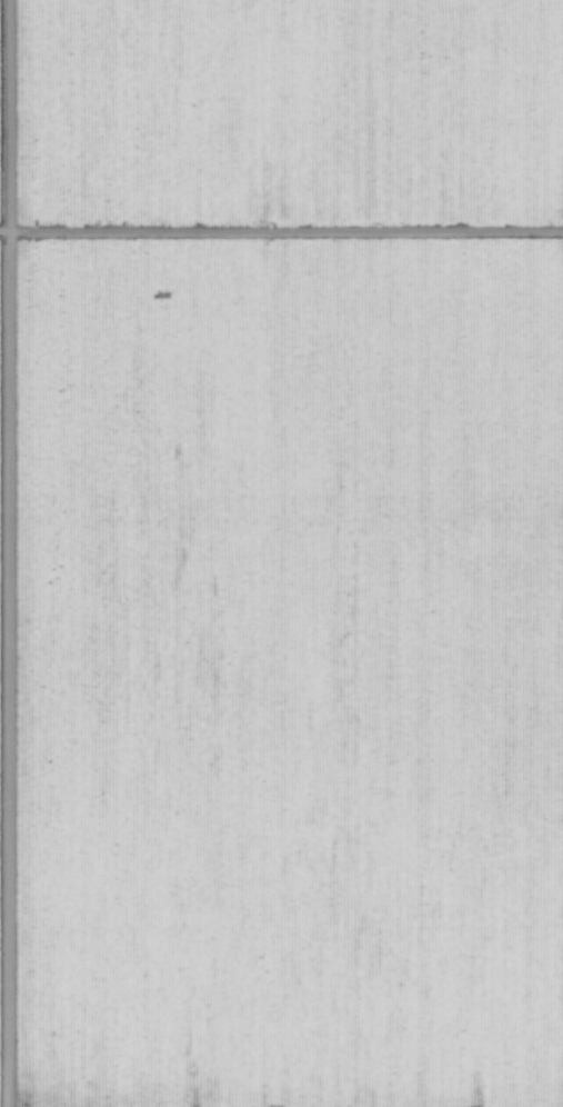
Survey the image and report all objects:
crop: (281, 553)

